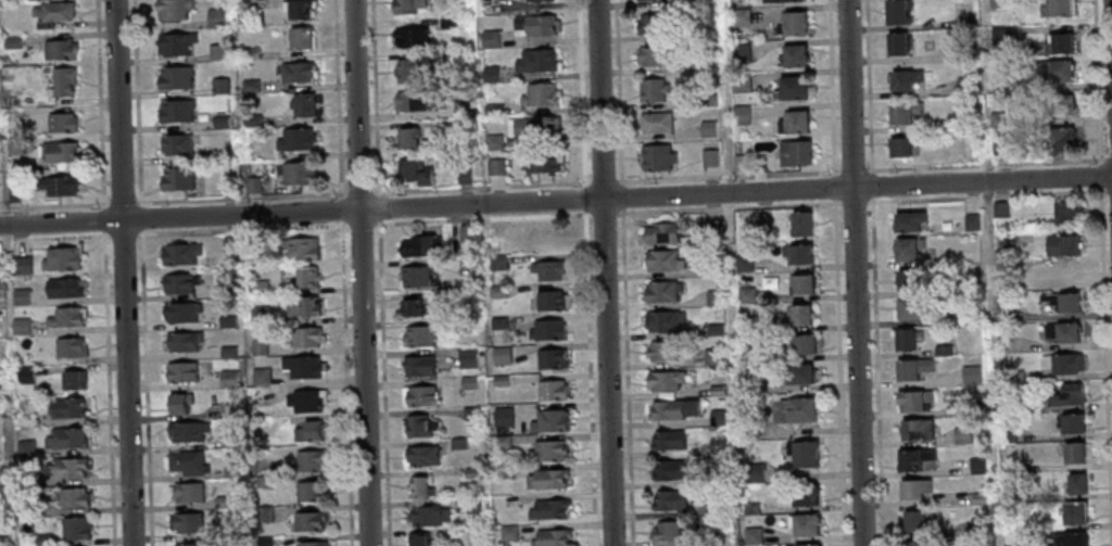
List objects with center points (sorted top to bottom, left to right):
building: (50, 0)
building: (646, 0)
building: (538, 1)
building: (704, 2)
building: (783, 2)
building: (997, 4)
building: (408, 7)
road: (1111, 7)
building: (173, 10)
building: (1059, 10)
building: (300, 11)
building: (899, 14)
building: (52, 15)
building: (740, 17)
building: (215, 18)
building: (448, 23)
building: (656, 24)
building: (534, 26)
building: (793, 26)
building: (1001, 36)
building: (412, 38)
building: (490, 39)
building: (301, 40)
building: (12, 43)
building: (175, 45)
building: (1059, 46)
building: (899, 47)
building: (61, 51)
building: (216, 53)
building: (250, 53)
building: (741, 54)
building: (964, 54)
building: (656, 58)
building: (794, 59)
building: (536, 62)
building: (707, 65)
building: (410, 72)
building: (296, 73)
building: (490, 74)
building: (1056, 74)
building: (175, 79)
building: (63, 82)
building: (903, 82)
building: (741, 84)
building: (250, 86)
building: (999, 86)
building: (219, 87)
building: (964, 87)
road: (581, 90)
road: (618, 91)
building: (653, 91)
building: (792, 92)
building: (539, 96)
road: (337, 97)
road: (375, 97)
road: (137, 101)
building: (708, 101)
road: (100, 102)
building: (412, 102)
building: (304, 106)
building: (460, 109)
building: (1063, 109)
building: (492, 110)
building: (176, 113)
building: (905, 115)
building: (741, 116)
building: (251, 120)
building: (998, 120)
building: (220, 123)
building: (966, 123)
building: (62, 124)
building: (656, 124)
building: (797, 124)
building: (462, 127)
building: (536, 128)
building: (708, 129)
building: (407, 140)
building: (295, 141)
building: (1059, 141)
building: (493, 142)
building: (176, 145)
building: (14, 147)
building: (1000, 148)
building: (902, 151)
building: (59, 153)
building: (795, 155)
building: (204, 158)
building: (709, 158)
building: (657, 160)
building: (541, 163)
building: (738, 165)
building: (495, 167)
road: (864, 169)
building: (298, 174)
building: (464, 174)
building: (414, 175)
road: (603, 179)
building: (178, 180)
road: (584, 182)
building: (226, 185)
road: (481, 186)
building: (252, 187)
building: (59, 188)
road: (359, 191)
building: (13, 194)
road: (621, 195)
road: (584, 196)
road: (240, 198)
road: (121, 201)
road: (556, 202)
road: (864, 202)
road: (52, 204)
road: (340, 206)
road: (378, 206)
building: (999, 208)
building: (1064, 211)
road: (604, 213)
road: (140, 216)
road: (481, 218)
road: (103, 219)
building: (907, 219)
building: (800, 221)
building: (970, 221)
road: (359, 224)
building: (742, 225)
road: (241, 229)
building: (494, 231)
building: (465, 232)
building: (659, 232)
building: (710, 232)
road: (122, 234)
building: (540, 237)
road: (52, 238)
building: (1007, 243)
building: (1061, 243)
building: (418, 244)
building: (227, 245)
building: (907, 246)
building: (300, 247)
building: (252, 250)
building: (797, 251)
building: (179, 253)
building: (60, 257)
building: (661, 259)
building: (496, 263)
building: (743, 263)
building: (20, 265)
building: (711, 266)
building: (546, 268)
road: (122, 272)
road: (359, 272)
road: (604, 272)
road: (854, 272)
building: (414, 276)
building: (305, 277)
building: (910, 277)
building: (179, 282)
building: (800, 282)
building: (62, 287)
building: (258, 287)
building: (224, 291)
building: (495, 291)
building: (660, 291)
building: (745, 294)
building: (20, 296)
building: (713, 297)
building: (548, 300)
building: (1062, 300)
building: (301, 305)
building: (412, 308)
building: (911, 308)
building: (972, 308)
building: (180, 312)
building: (798, 313)
building: (257, 314)
building: (1003, 314)
building: (64, 316)
building: (226, 320)
building: (662, 320)
building: (463, 322)
building: (497, 322)
building: (748, 322)
building: (18, 326)
building: (545, 329)
building: (713, 330)
building: (1062, 330)
building: (305, 335)
building: (417, 335)
building: (906, 337)
building: (181, 340)
building: (800, 343)
building: (68, 346)
building: (257, 346)
building: (660, 350)
building: (942, 350)
building: (226, 351)
building: (501, 355)
building: (712, 357)
building: (466, 358)
building: (549, 358)
building: (1060, 363)
building: (417, 365)
building: (301, 366)
building: (911, 367)
building: (182, 370)
building: (797, 372)
building: (24, 374)
building: (260, 376)
building: (1014, 376)
road: (590, 377)
road: (625, 377)
building: (73, 378)
building: (227, 378)
building: (664, 379)
building: (498, 380)
road: (384, 382)
building: (467, 382)
road: (345, 383)
building: (749, 384)
road: (146, 388)
road: (109, 389)
building: (551, 390)
building: (716, 390)
building: (1066, 394)
building: (419, 395)
building: (912, 398)
building: (304, 399)
building: (176, 402)
building: (974, 405)
building: (67, 406)
building: (1015, 406)
building: (798, 408)
building: (665, 409)
building: (470, 412)
building: (502, 416)
building: (717, 417)
building: (25, 420)
building: (547, 420)
building: (1070, 421)
building: (419, 426)
building: (915, 428)
building: (749, 429)
building: (186, 430)
building: (306, 430)
building: (961, 434)
building: (1006, 435)
building: (64, 437)
building: (667, 440)
building: (228, 442)
building: (501, 442)
building: (457, 444)
building: (24, 447)
building: (716, 447)
building: (547, 450)
building: (803, 450)
building: (1072, 450)
building: (261, 453)
building: (420, 455)
building: (915, 458)
building: (308, 459)
building: (185, 461)
building: (976, 465)
building: (1008, 466)
building: (65, 467)
building: (669, 469)
building: (230, 470)
building: (471, 472)
building: (502, 472)
building: (753, 472)
building: (545, 479)
building: (0, 481)
building: (262, 482)
building: (1074, 483)
building: (418, 485)
building: (913, 487)
building: (309, 491)
building: (187, 492)
building: (801, 492)
building: (1008, 496)
building: (72, 497)
building: (977, 497)
building: (669, 499)
building: (222, 501)
building: (472, 505)
building: (713, 507)
building: (547, 508)
building: (749, 508)
building: (25, 509)
building: (1074, 511)
building: (263, 515)
building: (426, 516)
building: (914, 518)
building: (187, 521)
building: (306, 521)
building: (803, 522)
building: (977, 525)
building: (74, 528)
building: (665, 530)
building: (507, 533)
building: (751, 535)
building: (472, 536)
building: (551, 537)
building: (1070, 538)
building: (42, 539)
building: (417, 539)
building: (1, 541)
building: (264, 542)
building: (920, 542)
building: (312, 543)
building: (189, 544)
building: (806, 544)

